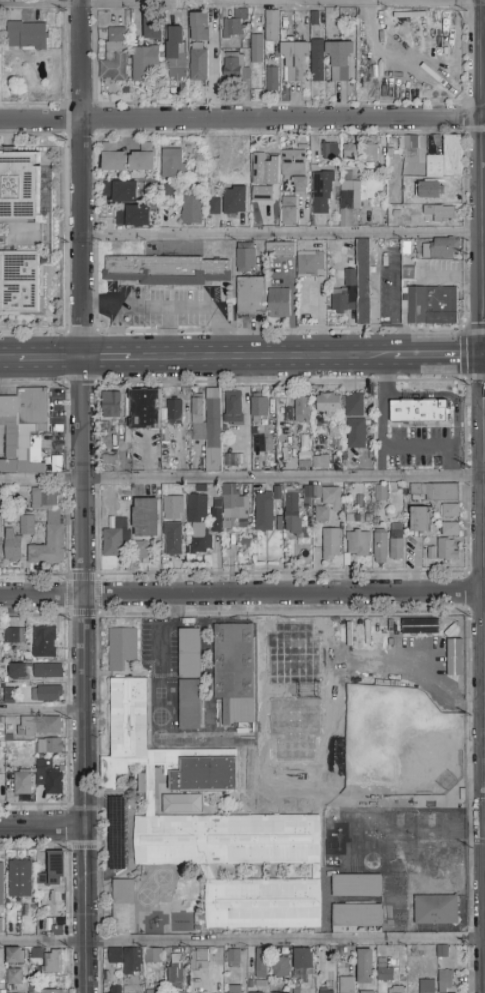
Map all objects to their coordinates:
road: (240, 2)
road: (483, 2)
building: (115, 16)
building: (318, 21)
building: (235, 25)
building: (273, 26)
building: (152, 27)
building: (200, 27)
building: (27, 35)
building: (257, 50)
building: (176, 54)
building: (114, 56)
building: (318, 60)
building: (341, 60)
building: (144, 62)
building: (199, 62)
building: (294, 62)
building: (233, 67)
building: (272, 80)
road: (241, 120)
road: (483, 125)
building: (410, 142)
building: (330, 151)
building: (351, 151)
building: (371, 154)
building: (114, 158)
building: (144, 159)
building: (447, 160)
building: (174, 164)
building: (259, 168)
road: (482, 177)
building: (287, 179)
building: (294, 183)
building: (20, 186)
building: (430, 190)
building: (120, 191)
building: (322, 193)
building: (258, 195)
building: (235, 200)
building: (350, 204)
building: (215, 206)
building: (191, 210)
building: (441, 213)
building: (133, 216)
road: (282, 232)
building: (280, 249)
building: (441, 249)
building: (246, 257)
building: (310, 263)
building: (166, 270)
building: (407, 271)
building: (20, 282)
building: (365, 284)
building: (345, 294)
building: (251, 296)
building: (279, 304)
building: (432, 305)
road: (170, 306)
road: (166, 332)
road: (461, 340)
road: (430, 355)
road: (476, 355)
traffic signals: (483, 355)
road: (484, 355)
road: (261, 356)
road: (106, 358)
road: (9, 359)
road: (50, 359)
road: (382, 376)
road: (474, 379)
road: (79, 382)
road: (279, 382)
road: (444, 395)
building: (328, 403)
building: (112, 405)
building: (259, 406)
building: (234, 408)
building: (144, 409)
building: (302, 410)
building: (419, 411)
building: (175, 412)
building: (285, 412)
building: (355, 421)
road: (464, 423)
building: (208, 426)
road: (65, 427)
road: (95, 427)
building: (24, 430)
road: (381, 437)
building: (259, 440)
road: (430, 446)
building: (237, 453)
building: (109, 458)
building: (320, 462)
building: (57, 465)
road: (464, 476)
road: (96, 479)
road: (65, 480)
road: (242, 480)
building: (434, 492)
building: (380, 493)
road: (83, 496)
building: (44, 498)
building: (328, 504)
building: (173, 508)
building: (231, 510)
building: (450, 511)
building: (264, 512)
building: (293, 512)
building: (145, 517)
building: (420, 520)
building: (1, 524)
building: (198, 524)
building: (450, 529)
road: (466, 529)
road: (96, 531)
road: (66, 533)
building: (18, 538)
building: (115, 539)
building: (173, 539)
building: (50, 542)
building: (397, 543)
building: (331, 544)
building: (357, 544)
building: (380, 547)
building: (140, 549)
building: (448, 549)
road: (476, 573)
road: (282, 574)
road: (34, 576)
road: (69, 578)
road: (468, 593)
road: (242, 595)
road: (484, 599)
road: (476, 612)
road: (308, 613)
road: (68, 624)
road: (163, 631)
building: (16, 636)
building: (44, 642)
building: (122, 648)
building: (18, 671)
building: (48, 671)
building: (235, 674)
building: (190, 679)
building: (8, 692)
building: (47, 694)
road: (41, 711)
road: (68, 711)
park: (363, 711)
building: (40, 726)
building: (51, 746)
building: (48, 778)
building: (23, 782)
road: (68, 796)
building: (183, 804)
road: (477, 805)
road: (42, 827)
building: (217, 830)
road: (130, 832)
road: (100, 839)
road: (110, 839)
road: (477, 842)
road: (67, 858)
building: (54, 870)
building: (20, 880)
building: (2, 884)
building: (369, 886)
road: (469, 887)
building: (124, 907)
building: (436, 910)
road: (100, 911)
building: (368, 920)
building: (1, 926)
building: (57, 930)
road: (469, 940)
road: (69, 942)
road: (100, 942)
road: (285, 942)
road: (43, 943)
building: (15, 956)
building: (154, 956)
building: (234, 957)
building: (200, 959)
building: (127, 960)
building: (50, 961)
building: (261, 963)
building: (365, 967)
building: (281, 968)
building: (304, 968)
road: (469, 970)
road: (69, 971)
road: (100, 971)
building: (176, 972)
building: (385, 974)
building: (14, 977)
building: (448, 982)
building: (347, 985)
building: (427, 986)
building: (117, 989)
building: (234, 989)
building: (395, 990)
building: (52, 991)
building: (154, 992)
building: (255, 992)
building: (277, 992)
building: (326, 992)
building: (367, 992)

